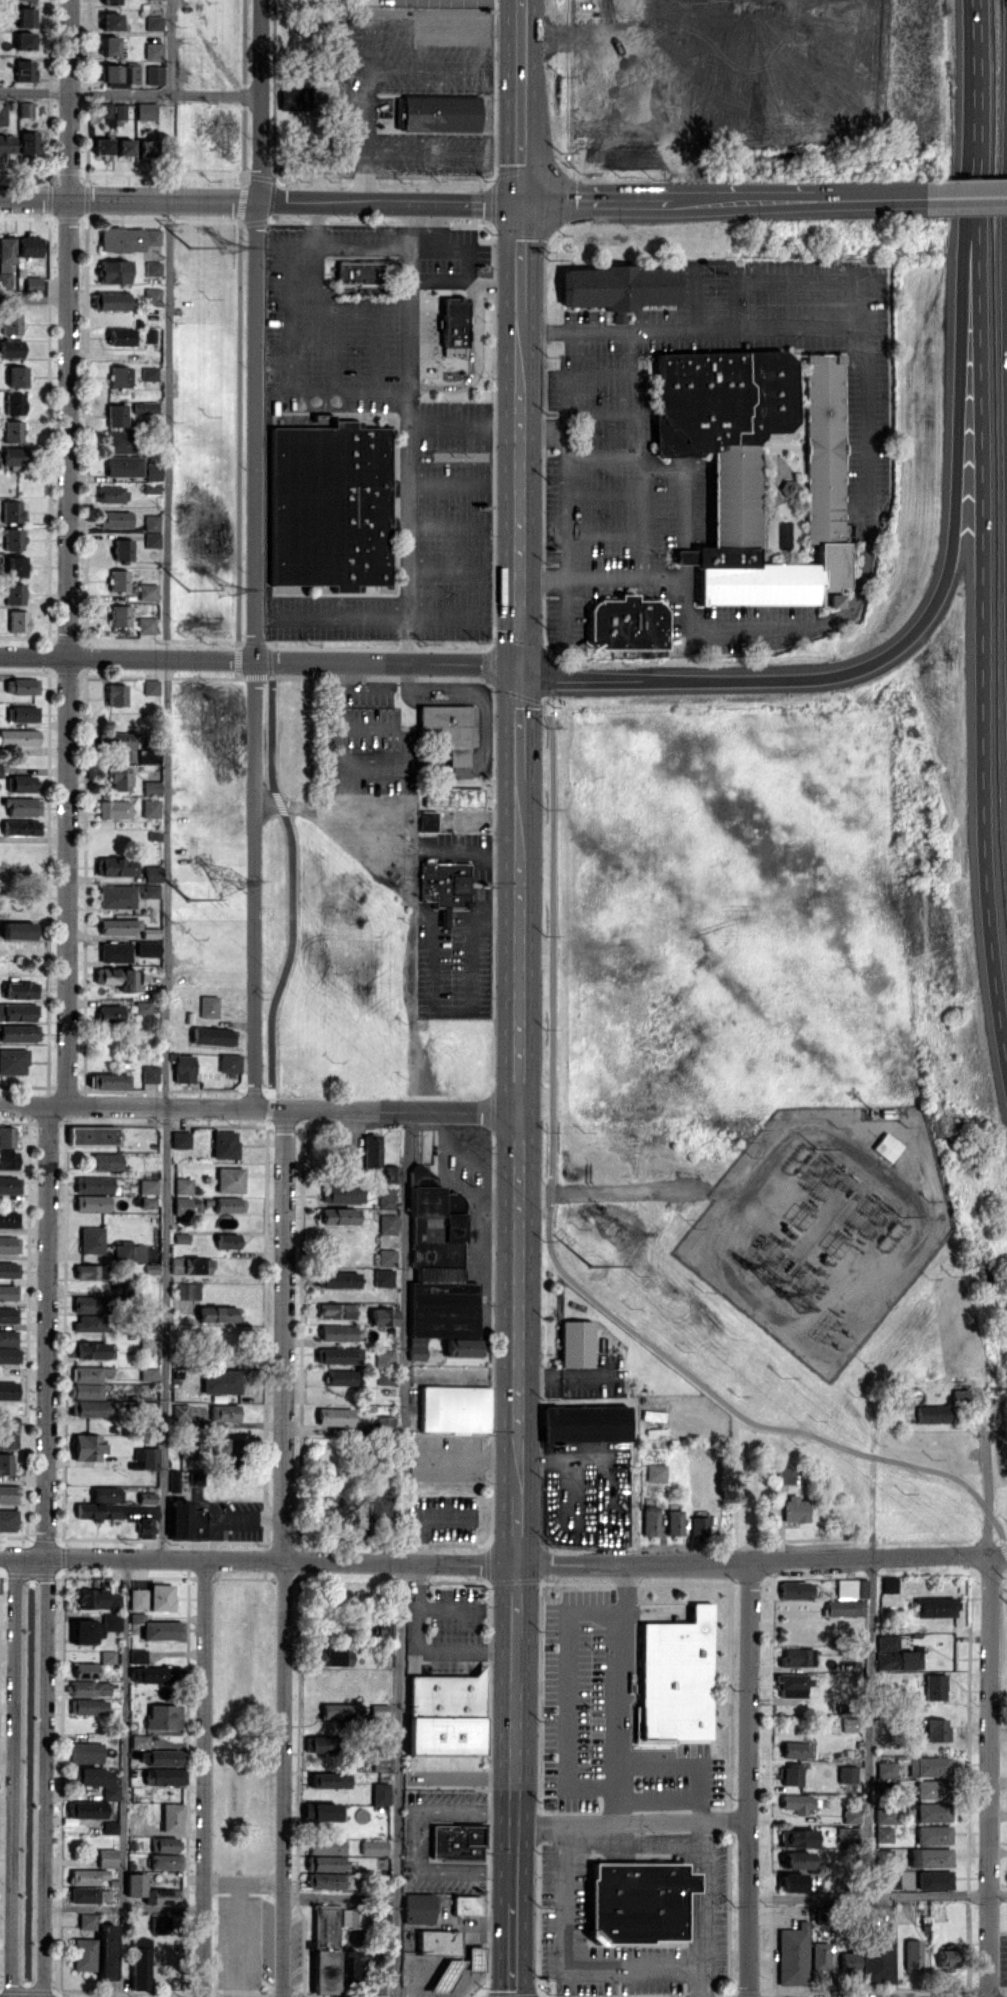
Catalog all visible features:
building: (20, 0)
building: (110, 2)
building: (25, 17)
building: (111, 21)
building: (153, 23)
road: (486, 26)
building: (336, 34)
building: (24, 40)
building: (112, 45)
road: (173, 47)
building: (153, 50)
building: (24, 70)
building: (118, 73)
building: (331, 73)
building: (154, 74)
road: (983, 75)
road: (244, 88)
road: (129, 93)
building: (293, 97)
road: (524, 100)
building: (25, 109)
building: (145, 110)
building: (2, 113)
building: (112, 113)
building: (440, 113)
road: (366, 133)
building: (29, 142)
building: (6, 144)
building: (102, 146)
building: (124, 147)
building: (145, 148)
road: (420, 150)
road: (950, 193)
road: (853, 195)
road: (732, 197)
road: (241, 198)
road: (262, 199)
road: (587, 200)
traffic signals: (524, 201)
building: (127, 238)
road: (363, 244)
power tower: (227, 245)
building: (29, 246)
power tower: (191, 247)
building: (6, 259)
road: (523, 260)
building: (152, 268)
building: (114, 271)
building: (362, 271)
road: (467, 280)
building: (32, 284)
building: (614, 287)
building: (152, 296)
road: (32, 300)
building: (109, 300)
building: (10, 323)
building: (453, 325)
building: (121, 336)
road: (293, 343)
building: (10, 348)
road: (471, 360)
road: (573, 369)
building: (149, 373)
building: (17, 376)
building: (119, 376)
building: (13, 404)
building: (144, 407)
building: (115, 415)
road: (466, 424)
building: (12, 431)
road: (238, 431)
road: (409, 431)
building: (121, 441)
road: (641, 452)
building: (13, 457)
building: (123, 465)
building: (756, 466)
building: (152, 471)
road: (868, 476)
road: (568, 478)
building: (788, 487)
road: (522, 492)
building: (112, 494)
road: (954, 498)
building: (330, 505)
building: (10, 511)
building: (113, 519)
building: (151, 531)
building: (13, 539)
building: (122, 549)
road: (65, 550)
road: (257, 552)
building: (16, 566)
building: (118, 580)
power tower: (225, 587)
power tower: (189, 589)
building: (147, 591)
building: (14, 593)
road: (983, 606)
building: (119, 615)
building: (17, 620)
building: (626, 623)
building: (145, 625)
road: (238, 651)
road: (119, 657)
road: (379, 662)
traffic signals: (522, 665)
road: (237, 668)
road: (253, 677)
road: (619, 677)
building: (21, 686)
building: (151, 686)
building: (116, 694)
road: (468, 695)
building: (22, 713)
road: (521, 715)
road: (365, 728)
building: (19, 737)
building: (116, 739)
building: (149, 756)
road: (359, 767)
building: (0, 768)
building: (118, 778)
building: (20, 783)
building: (151, 788)
building: (452, 796)
building: (22, 806)
building: (150, 808)
building: (113, 809)
building: (426, 821)
building: (20, 827)
road: (439, 847)
building: (114, 866)
building: (152, 873)
road: (165, 877)
power tower: (224, 882)
building: (444, 884)
road: (292, 890)
building: (125, 894)
power tower: (188, 899)
road: (412, 908)
building: (118, 926)
building: (18, 930)
building: (147, 948)
building: (114, 952)
building: (119, 977)
building: (20, 990)
building: (142, 1007)
road: (467, 1011)
building: (18, 1012)
building: (110, 1014)
building: (18, 1032)
building: (213, 1036)
building: (13, 1061)
building: (230, 1063)
building: (183, 1068)
building: (149, 1073)
building: (109, 1081)
road: (205, 1103)
road: (464, 1107)
building: (92, 1135)
building: (7, 1136)
building: (180, 1139)
building: (224, 1144)
building: (886, 1146)
building: (371, 1150)
building: (8, 1160)
building: (106, 1161)
road: (517, 1164)
building: (229, 1179)
building: (93, 1184)
building: (9, 1185)
building: (183, 1185)
building: (148, 1186)
road: (613, 1190)
building: (342, 1193)
building: (386, 1196)
building: (148, 1202)
building: (91, 1203)
building: (228, 1204)
building: (182, 1205)
building: (338, 1216)
building: (9, 1218)
building: (387, 1223)
power substation: (826, 1226)
road: (548, 1234)
power tower: (617, 1234)
building: (91, 1239)
building: (227, 1240)
building: (9, 1245)
building: (129, 1252)
building: (386, 1257)
power tower: (590, 1264)
building: (194, 1265)
building: (9, 1269)
building: (90, 1271)
building: (439, 1276)
building: (383, 1277)
building: (337, 1279)
building: (187, 1291)
building: (8, 1292)
building: (92, 1304)
building: (337, 1310)
building: (218, 1314)
building: (8, 1315)
building: (383, 1316)
building: (90, 1323)
road: (49, 1328)
building: (337, 1333)
building: (8, 1337)
building: (575, 1343)
building: (88, 1350)
building: (9, 1355)
building: (338, 1355)
building: (384, 1358)
building: (148, 1373)
building: (340, 1377)
building: (384, 1378)
building: (87, 1381)
building: (220, 1381)
building: (8, 1390)
building: (455, 1405)
building: (89, 1408)
building: (180, 1412)
building: (223, 1412)
building: (931, 1413)
building: (335, 1416)
building: (8, 1423)
building: (384, 1423)
building: (584, 1423)
building: (7, 1440)
building: (87, 1447)
building: (186, 1448)
building: (225, 1453)
road: (468, 1454)
building: (146, 1456)
building: (6, 1463)
building: (655, 1472)
building: (786, 1474)
road: (635, 1479)
building: (174, 1480)
building: (8, 1493)
building: (146, 1497)
building: (101, 1504)
building: (795, 1508)
building: (384, 1509)
building: (8, 1520)
building: (650, 1520)
building: (185, 1521)
building: (674, 1522)
building: (698, 1525)
building: (146, 1527)
road: (1006, 1544)
road: (284, 1551)
road: (402, 1551)
road: (257, 1558)
road: (761, 1558)
building: (890, 1584)
building: (797, 1590)
building: (161, 1597)
building: (93, 1598)
building: (849, 1598)
building: (138, 1599)
building: (115, 1602)
road: (516, 1605)
building: (936, 1607)
building: (95, 1628)
building: (381, 1629)
building: (896, 1654)
building: (138, 1656)
building: (798, 1656)
building: (332, 1657)
building: (94, 1666)
building: (158, 1674)
building: (677, 1678)
building: (936, 1686)
building: (90, 1688)
road: (619, 1690)
road: (569, 1694)
building: (88, 1706)
building: (338, 1711)
road: (992, 1712)
building: (380, 1714)
building: (447, 1714)
building: (164, 1716)
building: (851, 1723)
road: (872, 1726)
building: (938, 1729)
road: (125, 1733)
building: (140, 1741)
building: (322, 1743)
building: (798, 1749)
building: (87, 1751)
building: (162, 1757)
building: (383, 1757)
building: (931, 1766)
road: (683, 1767)
building: (887, 1769)
road: (515, 1771)
building: (849, 1773)
building: (794, 1774)
road: (16, 1775)
road: (46, 1775)
building: (166, 1776)
road: (205, 1777)
road: (750, 1777)
building: (332, 1779)
building: (96, 1780)
building: (934, 1789)
building: (382, 1793)
building: (89, 1809)
building: (321, 1812)
building: (887, 1815)
building: (853, 1816)
building: (173, 1817)
road: (632, 1819)
building: (111, 1827)
building: (849, 1834)
building: (886, 1834)
building: (935, 1834)
building: (800, 1837)
road: (420, 1838)
building: (457, 1841)
building: (165, 1844)
building: (327, 1846)
building: (375, 1847)
building: (886, 1856)
building: (108, 1857)
building: (931, 1857)
building: (799, 1859)
building: (167, 1861)
building: (326, 1871)
building: (88, 1876)
building: (936, 1879)
building: (889, 1881)
building: (794, 1882)
building: (151, 1890)
road: (706, 1893)
road: (879, 1896)
building: (639, 1901)
building: (467, 1904)
building: (421, 1907)
road: (125, 1910)
building: (353, 1917)
building: (88, 1921)
building: (161, 1924)
parking lot: (245, 1938)
building: (440, 1943)
road: (514, 1947)
building: (108, 1950)
building: (327, 1950)
building: (85, 1954)
building: (794, 1954)
building: (880, 1954)
building: (914, 1955)
building: (821, 1956)
building: (475, 1958)
building: (949, 1959)
building: (850, 1961)
road: (564, 1962)
building: (141, 1963)
building: (354, 1965)
road: (703, 1982)

